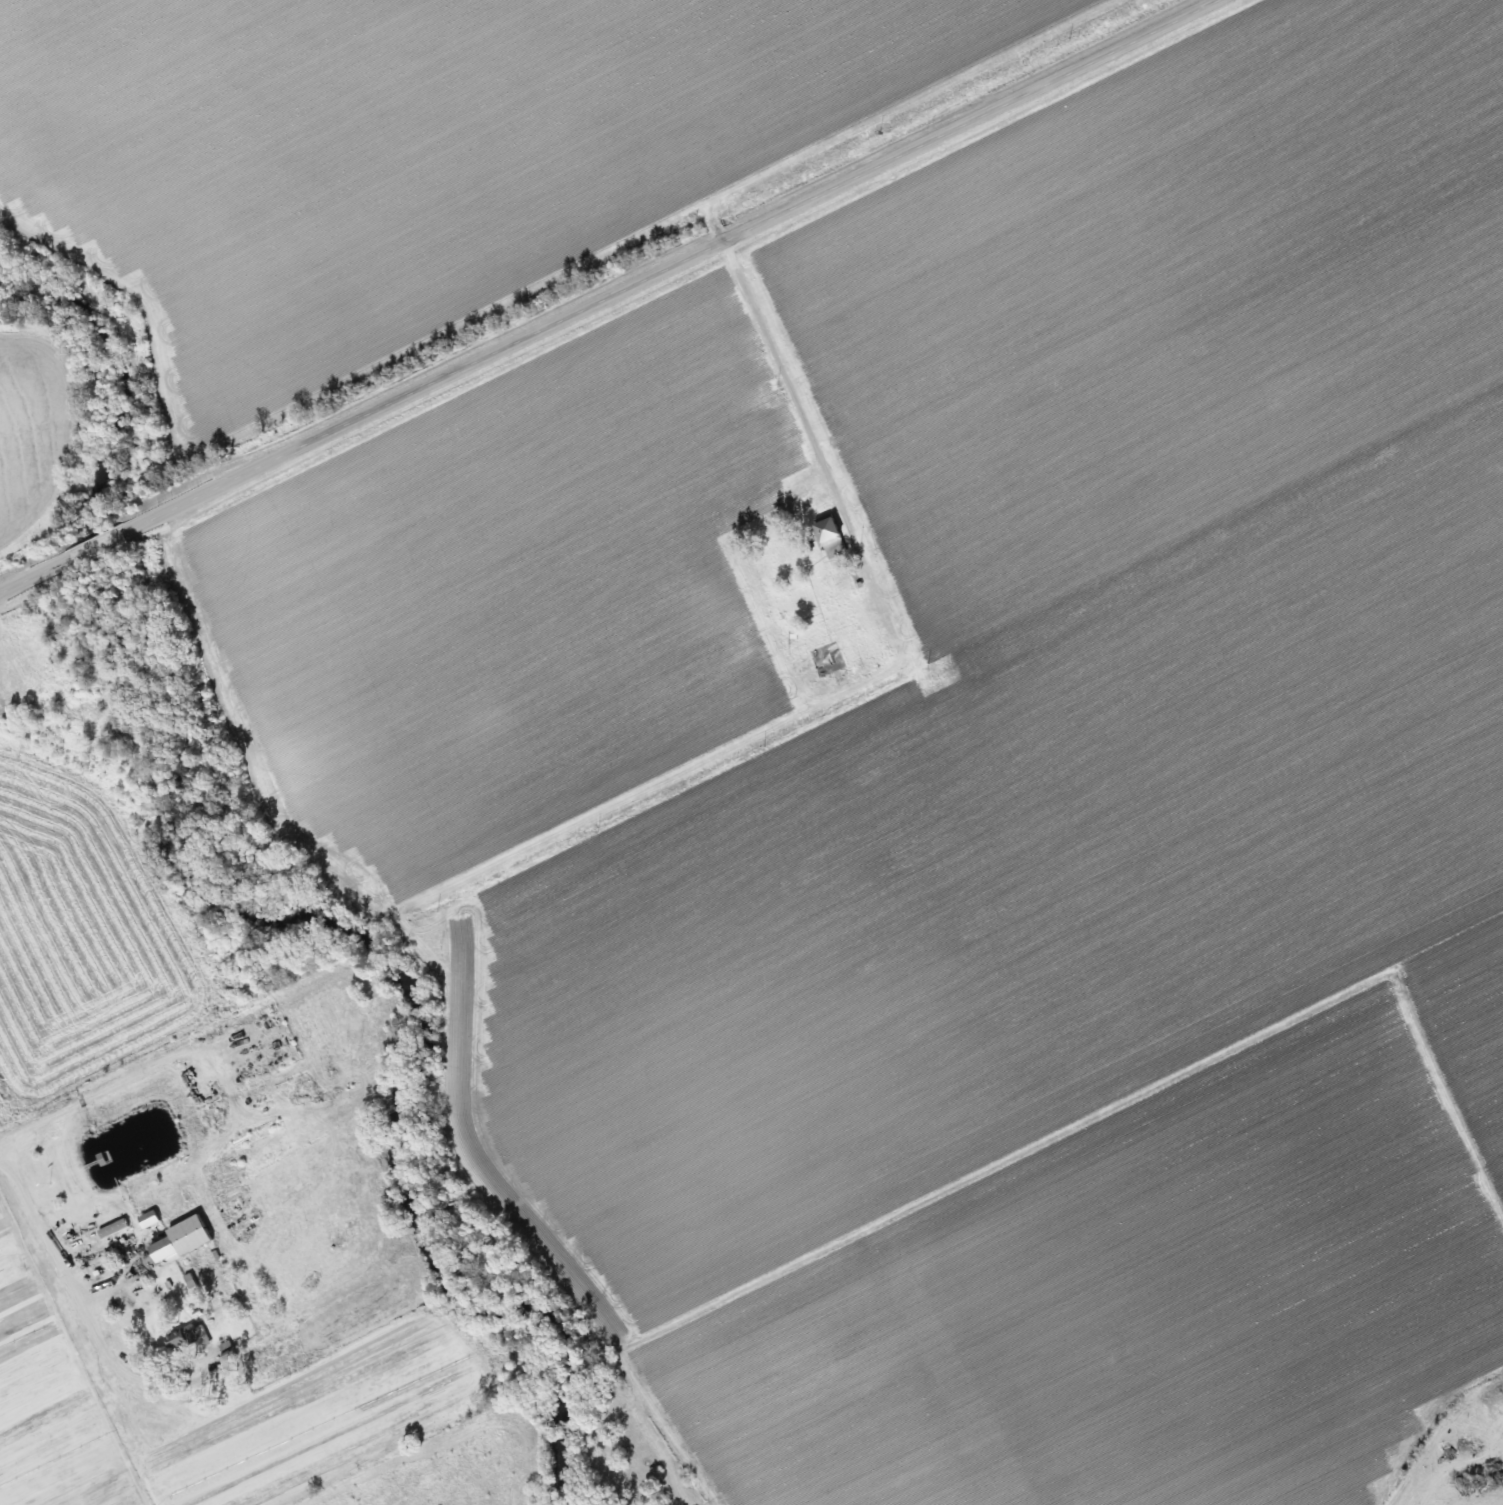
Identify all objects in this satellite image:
road: (602, 294)
road: (786, 379)
building: (823, 537)
building: (97, 1158)
building: (172, 1240)
road: (60, 1261)
building: (1501, 1394)

